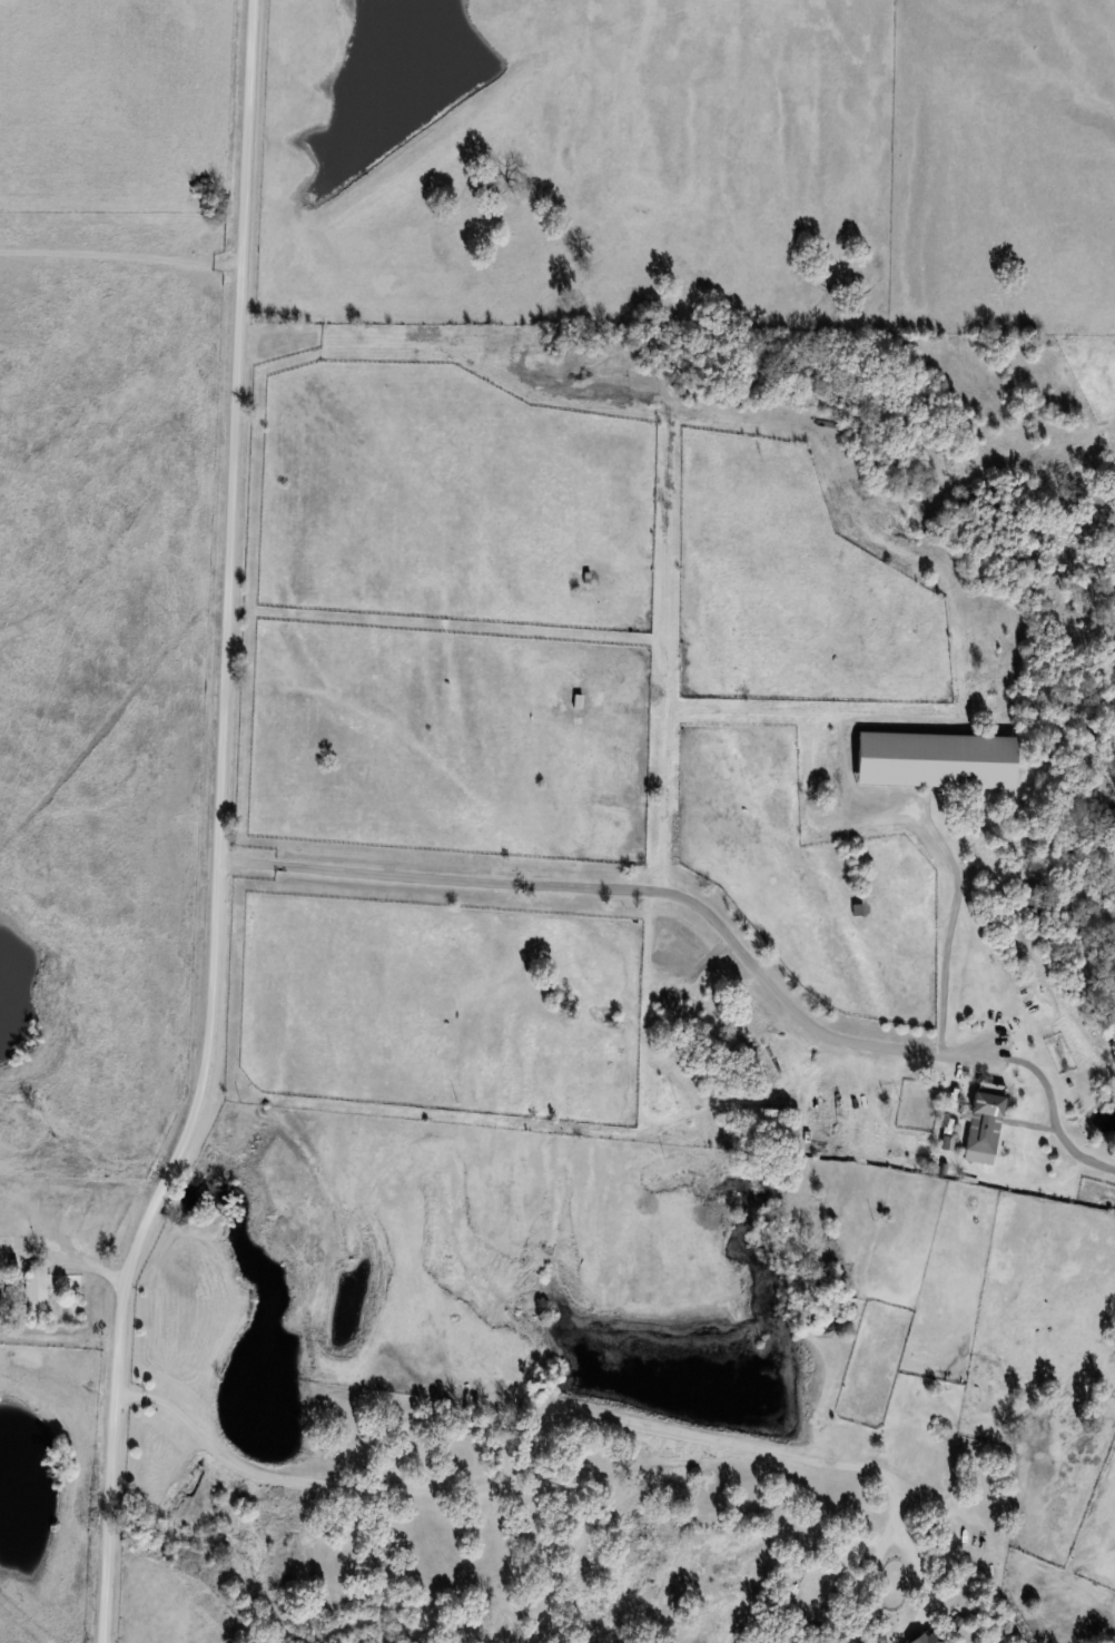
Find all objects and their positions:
road: (119, 248)
building: (935, 760)
road: (218, 829)
road: (633, 888)
building: (1032, 904)
road: (949, 922)
building: (981, 1128)
building: (34, 1289)
road: (541, 1436)
building: (926, 1637)

